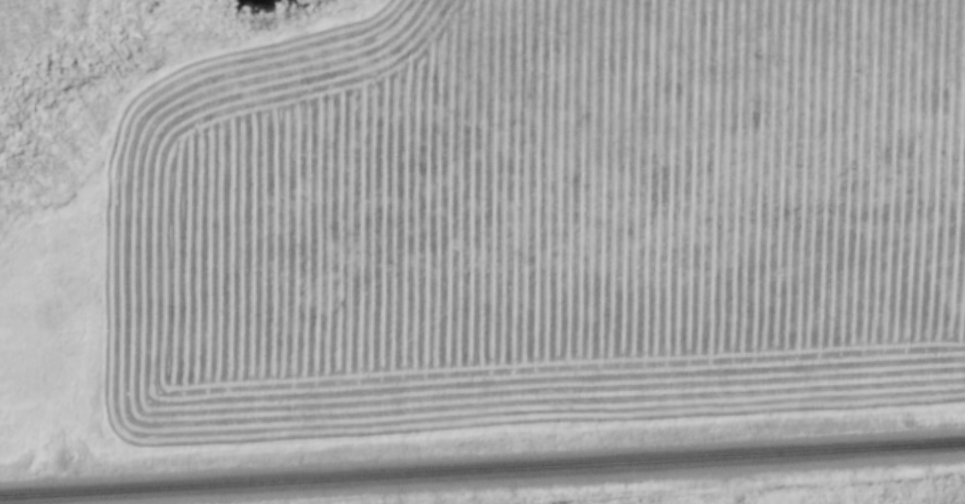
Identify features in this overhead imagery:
railway: (482, 472)

